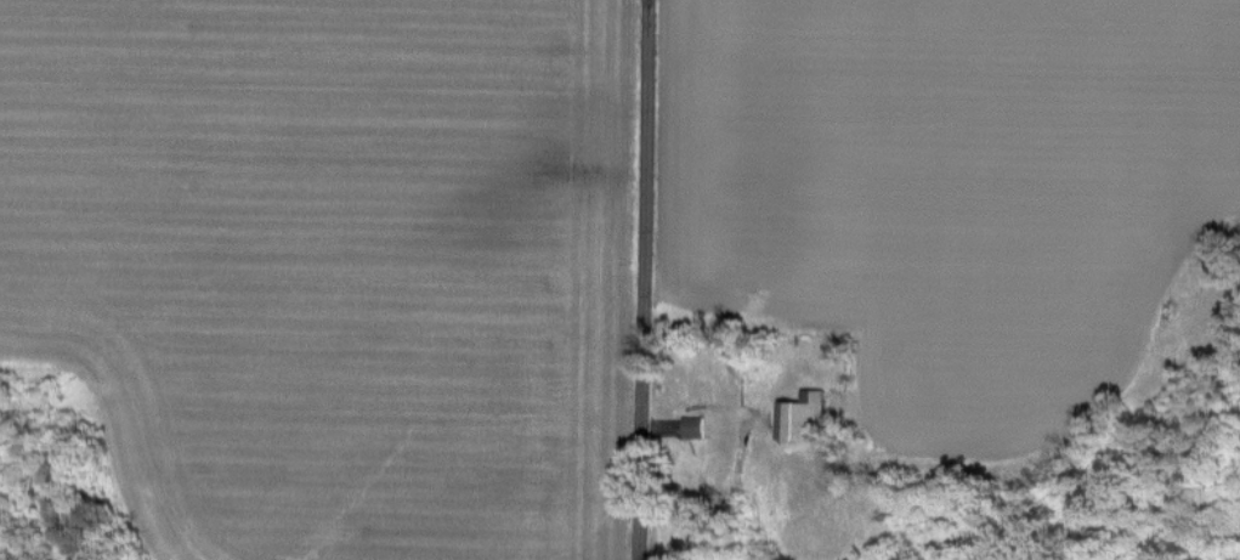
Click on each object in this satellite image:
road: (647, 279)

